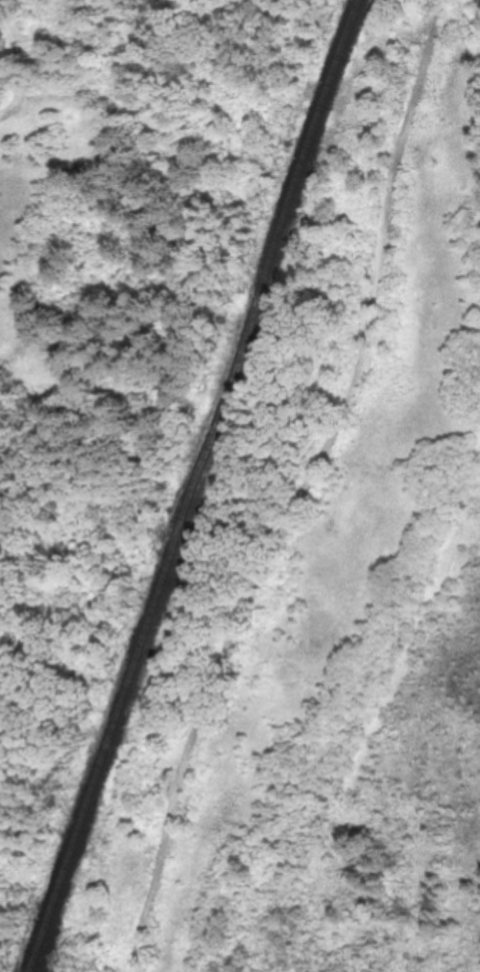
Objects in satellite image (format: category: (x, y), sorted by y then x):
road: (15, 66)
railway: (198, 485)
park: (240, 486)
road: (306, 491)

